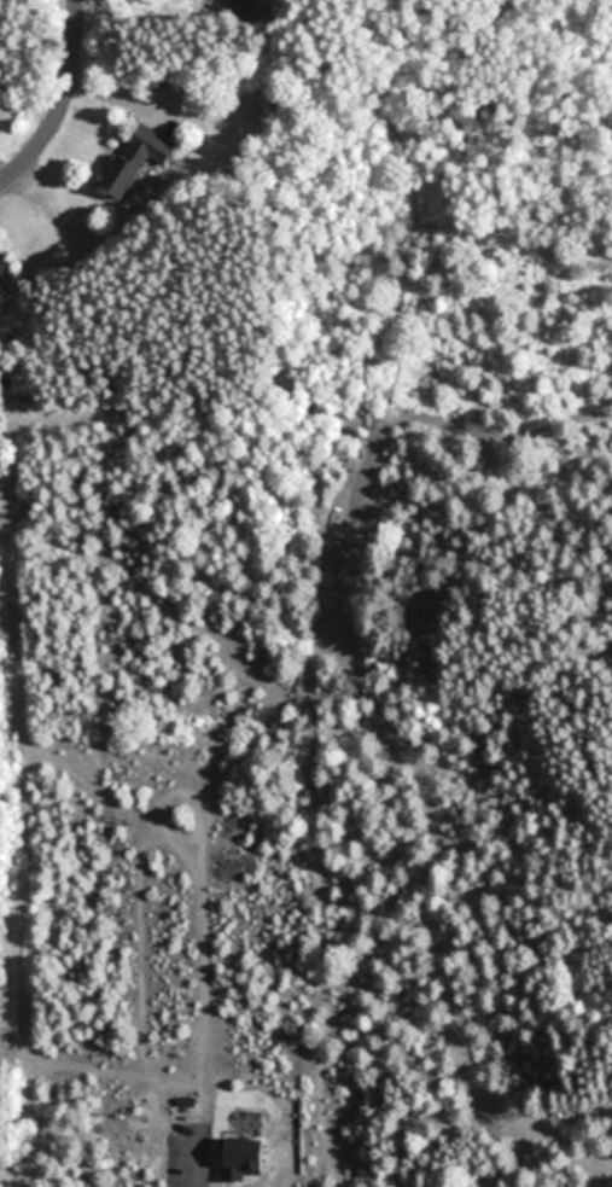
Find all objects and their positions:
road: (62, 101)
building: (138, 157)
building: (22, 383)
building: (168, 745)
road: (165, 1005)

